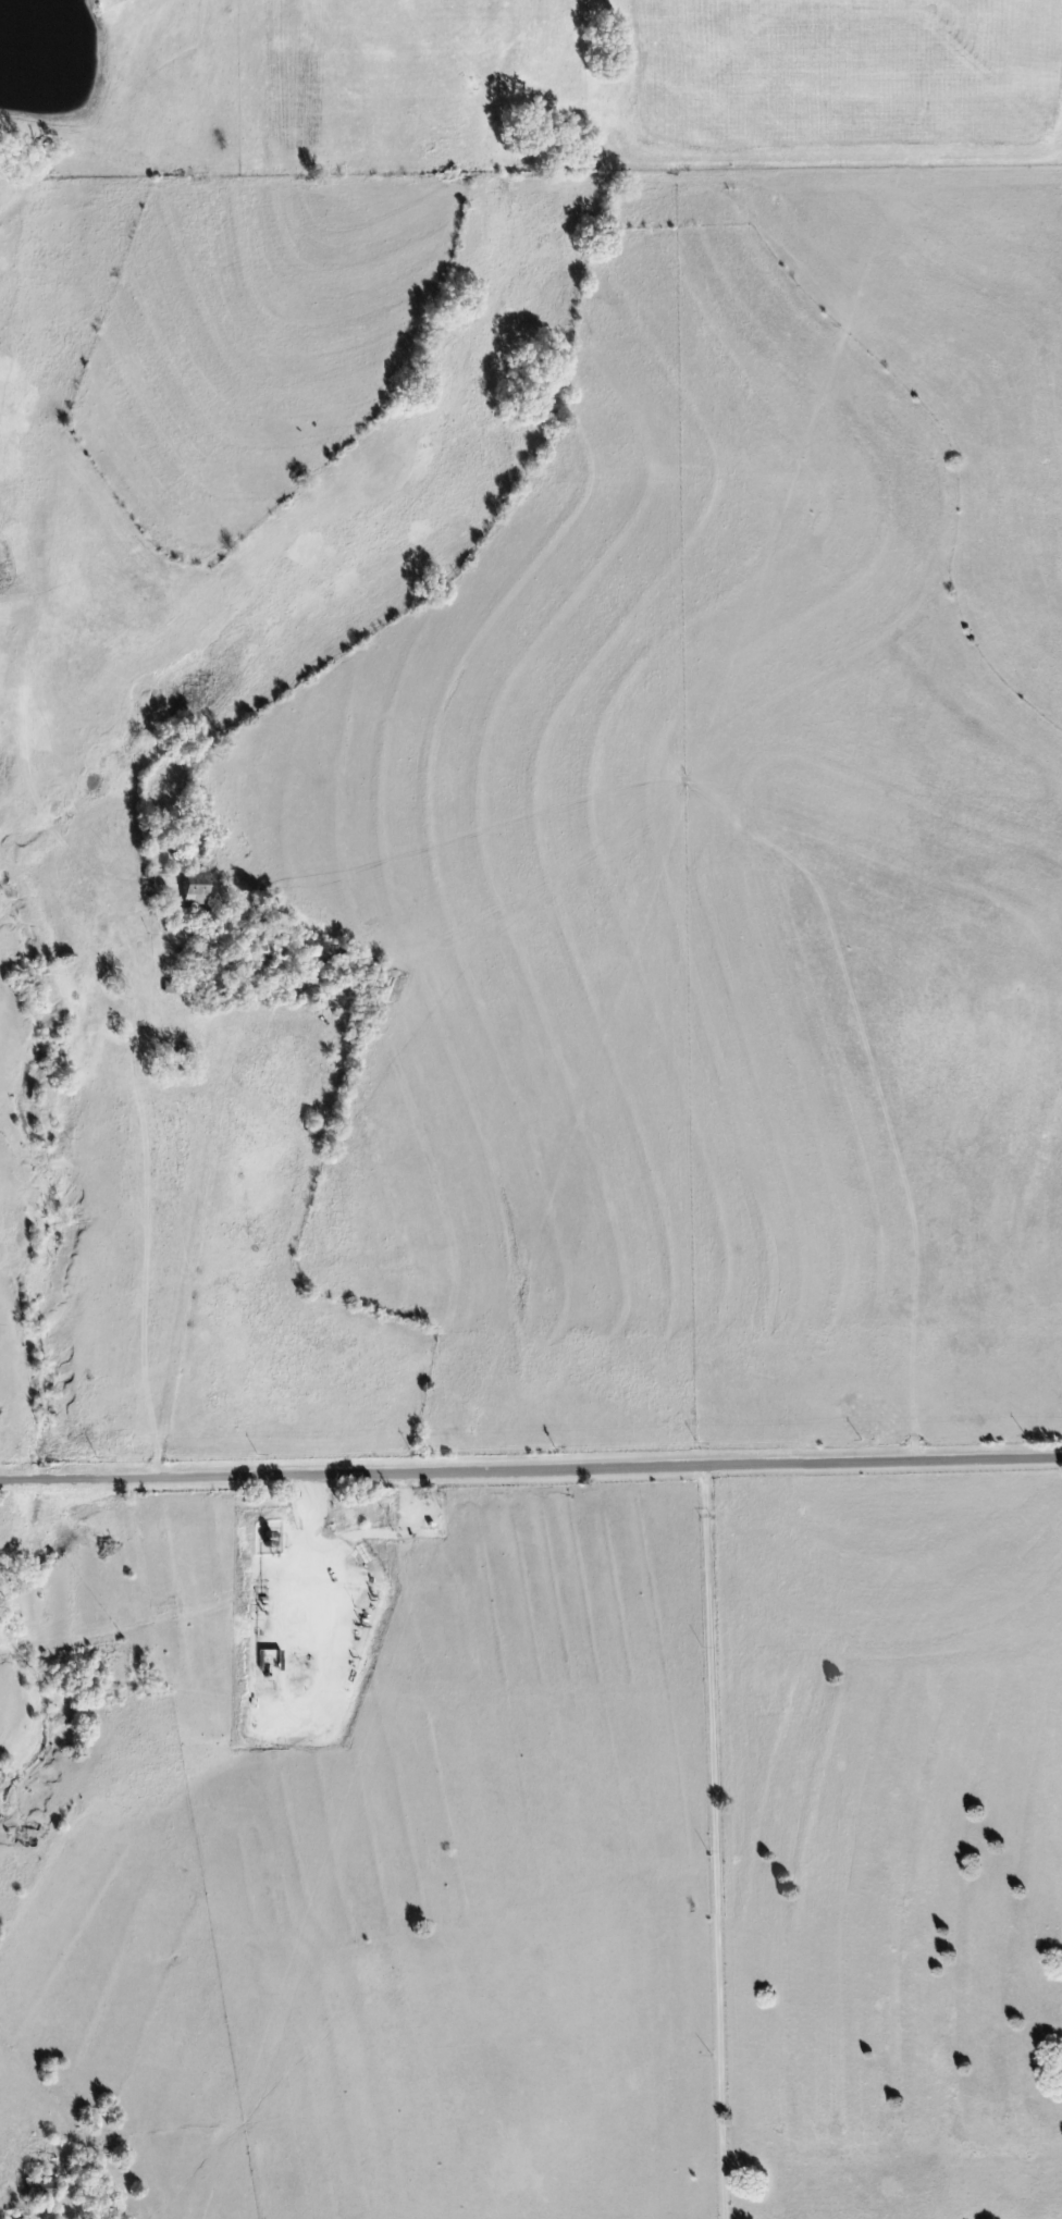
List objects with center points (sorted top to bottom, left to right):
building: (197, 889)
road: (188, 1259)
road: (531, 1465)
road: (715, 1838)
building: (41, 2190)

